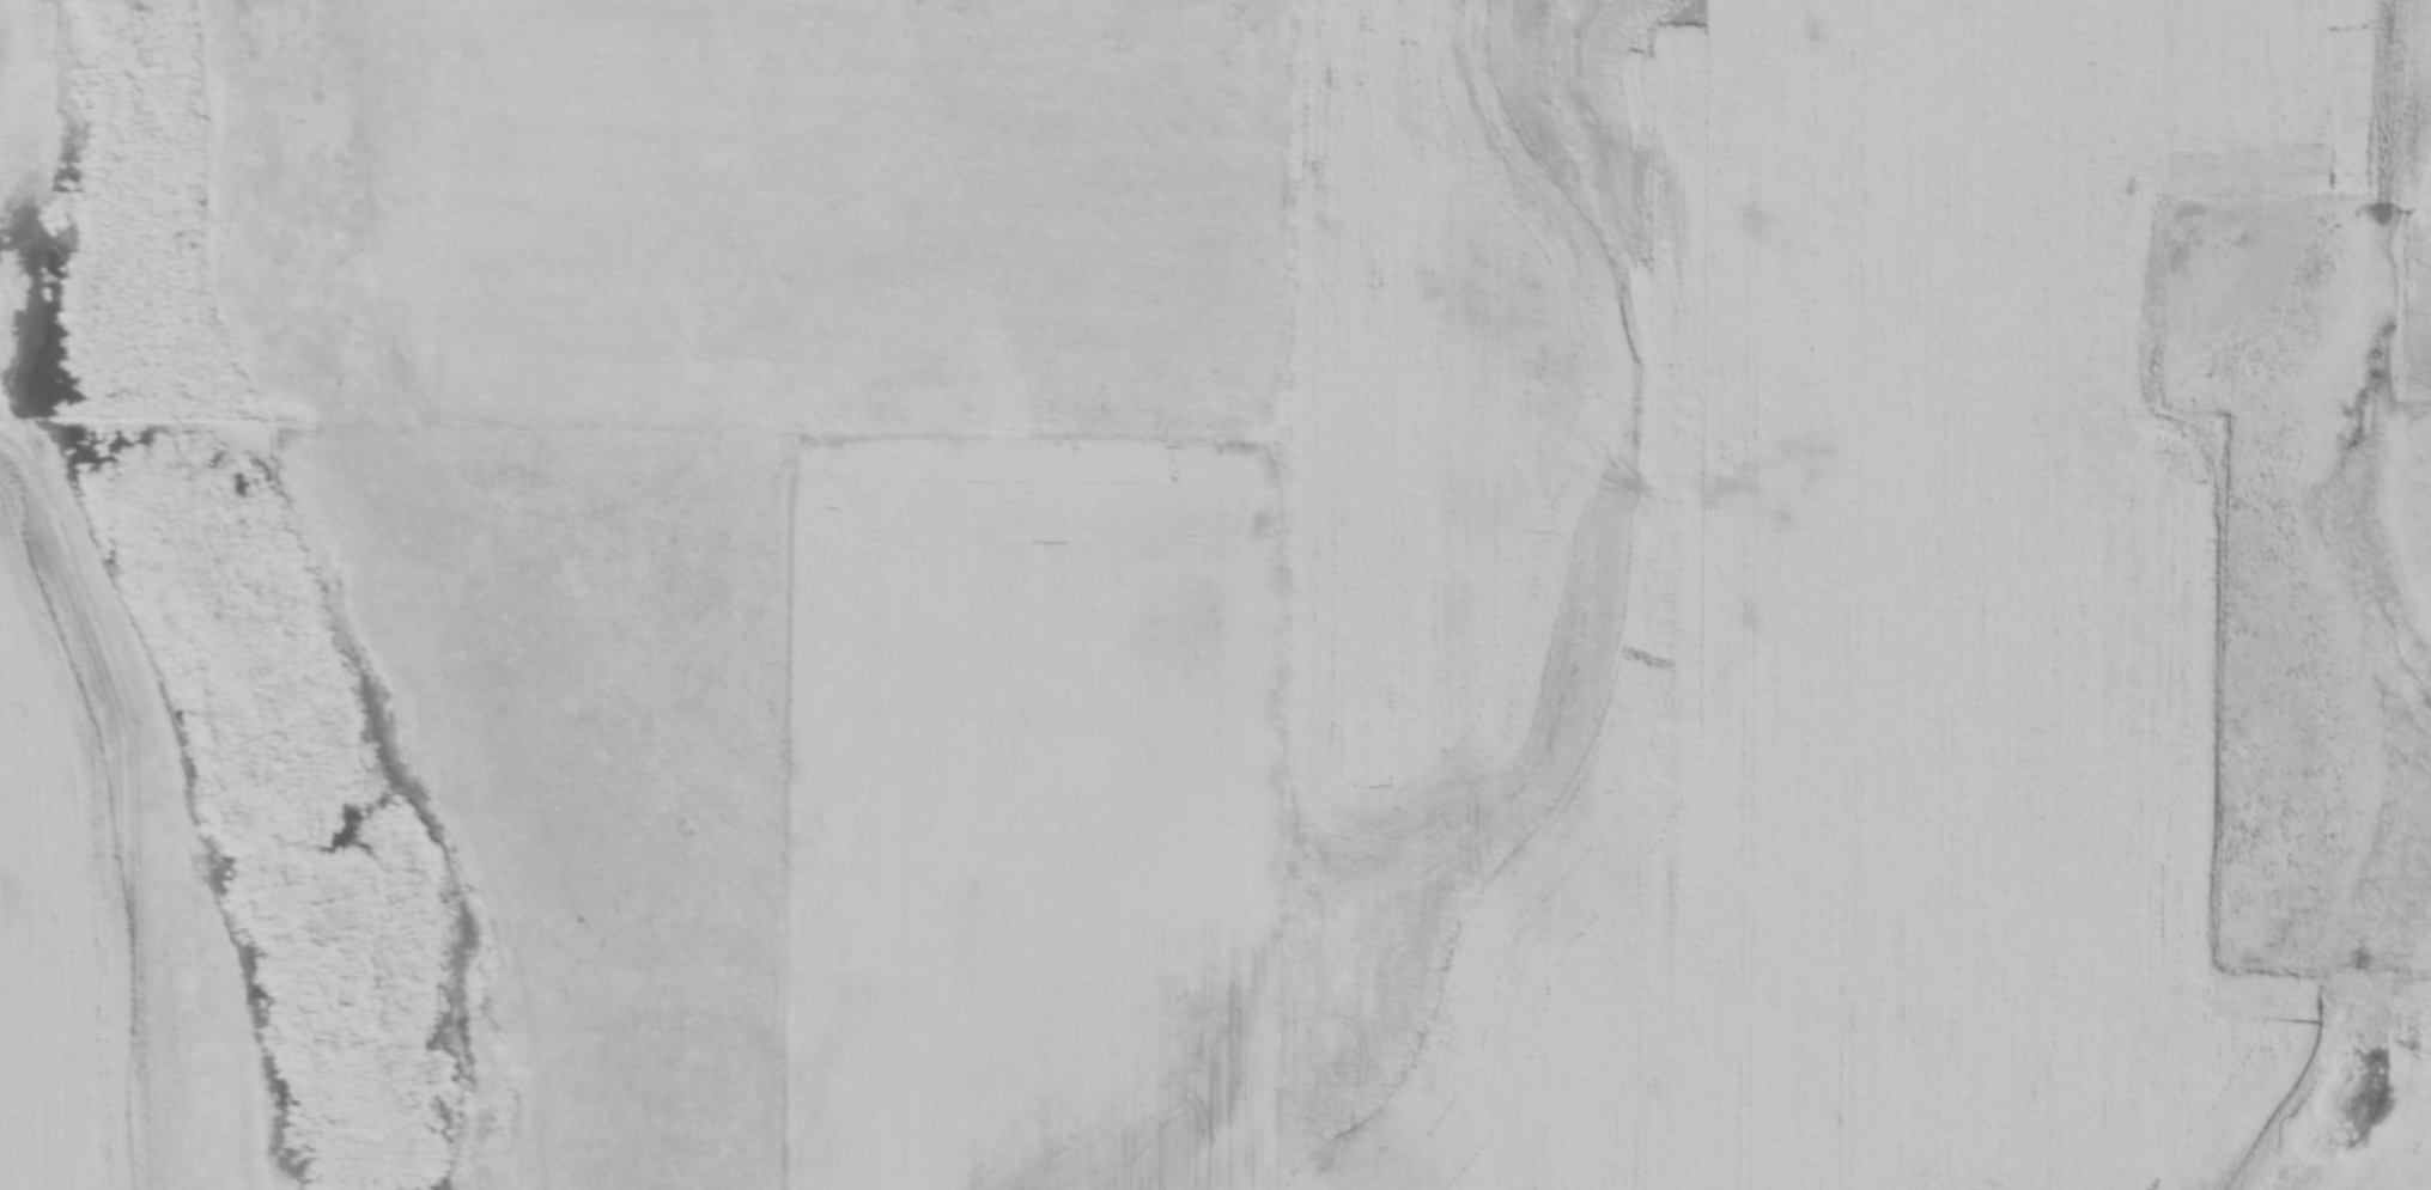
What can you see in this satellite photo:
crop: (1035, 817)

